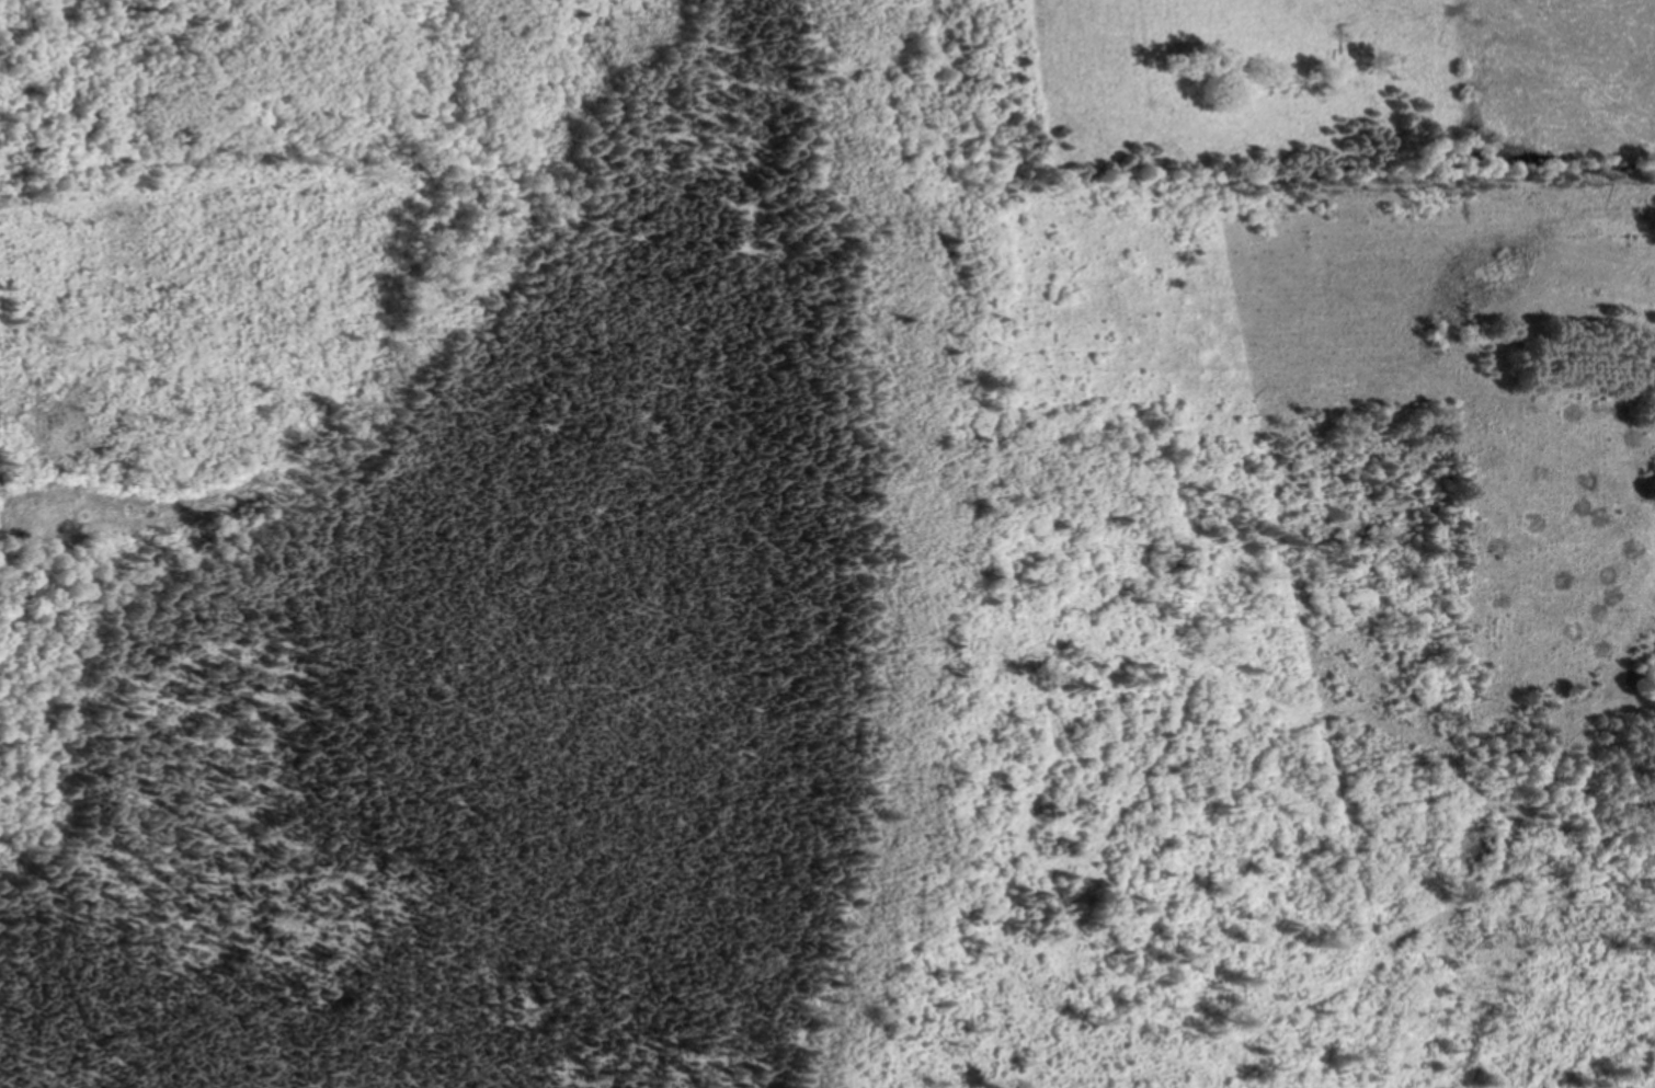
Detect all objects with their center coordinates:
building: (1653, 489)

